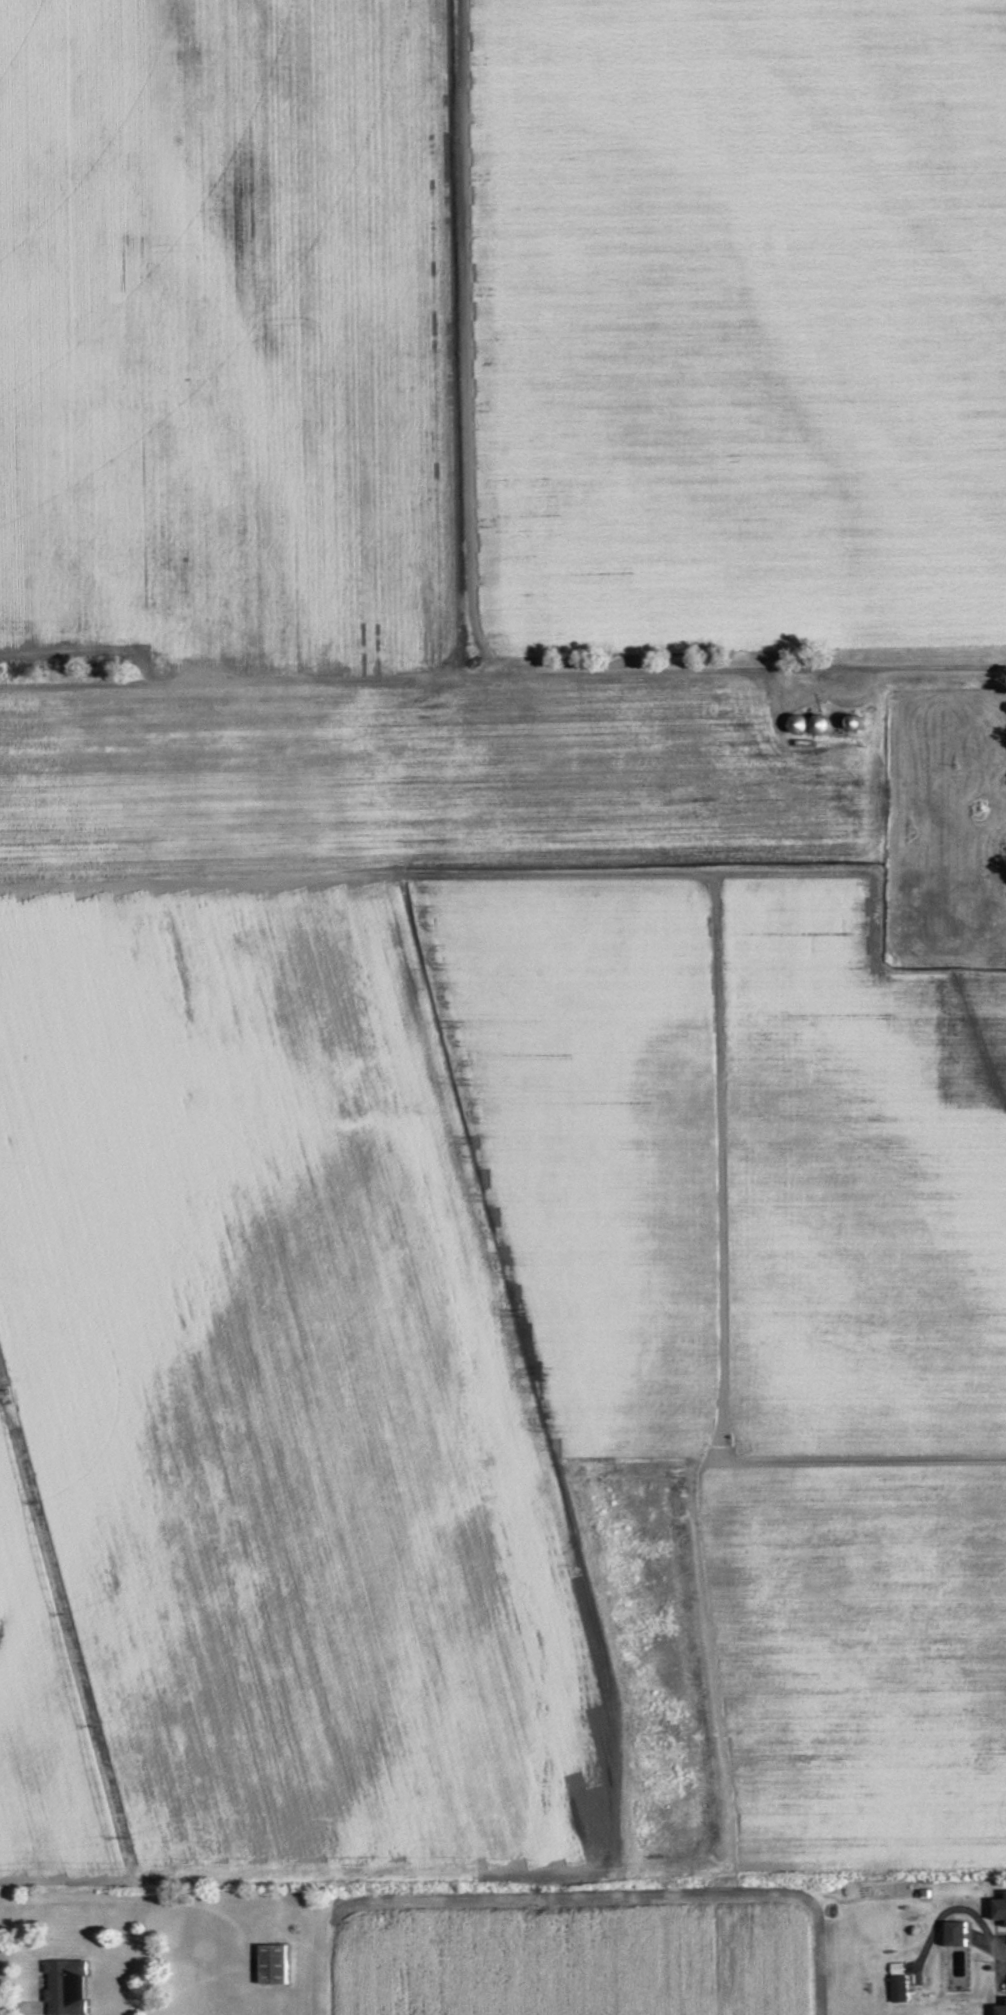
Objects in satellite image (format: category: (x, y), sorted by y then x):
road: (64, 1648)
road: (58, 1879)
building: (999, 1910)
building: (953, 1935)
road: (1002, 1959)
building: (899, 1983)
building: (1000, 2010)

